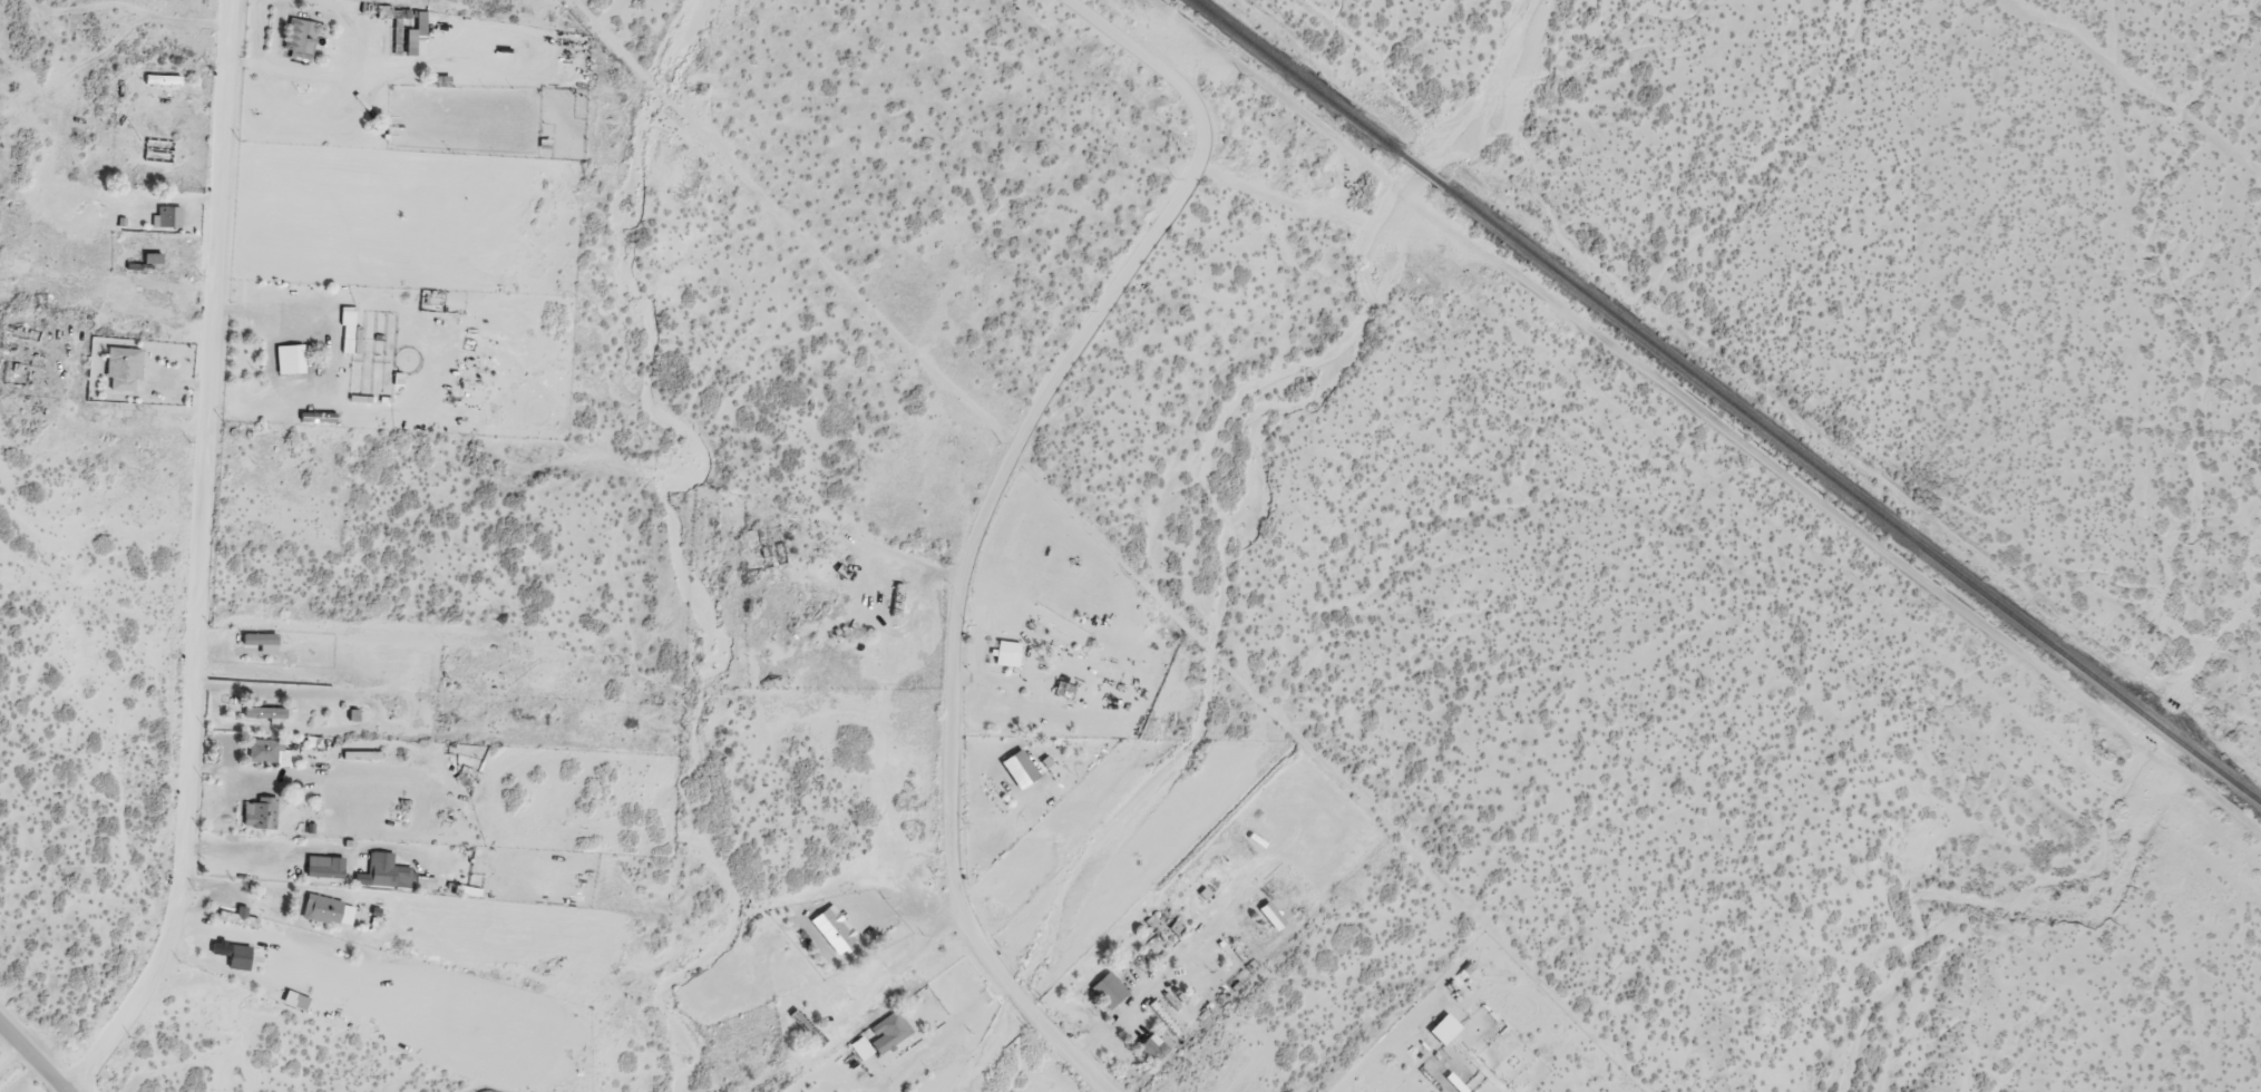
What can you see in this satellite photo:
building: (301, 35)
road: (1141, 74)
building: (167, 216)
building: (348, 332)
building: (293, 358)
building: (125, 367)
railway: (1727, 401)
railway: (1629, 489)
road: (196, 565)
road: (948, 627)
building: (262, 637)
building: (1007, 650)
building: (262, 710)
building: (266, 752)
building: (361, 757)
building: (259, 813)
building: (386, 869)
building: (327, 870)
building: (328, 909)
building: (238, 918)
building: (231, 948)
building: (881, 1034)
road: (29, 1061)

